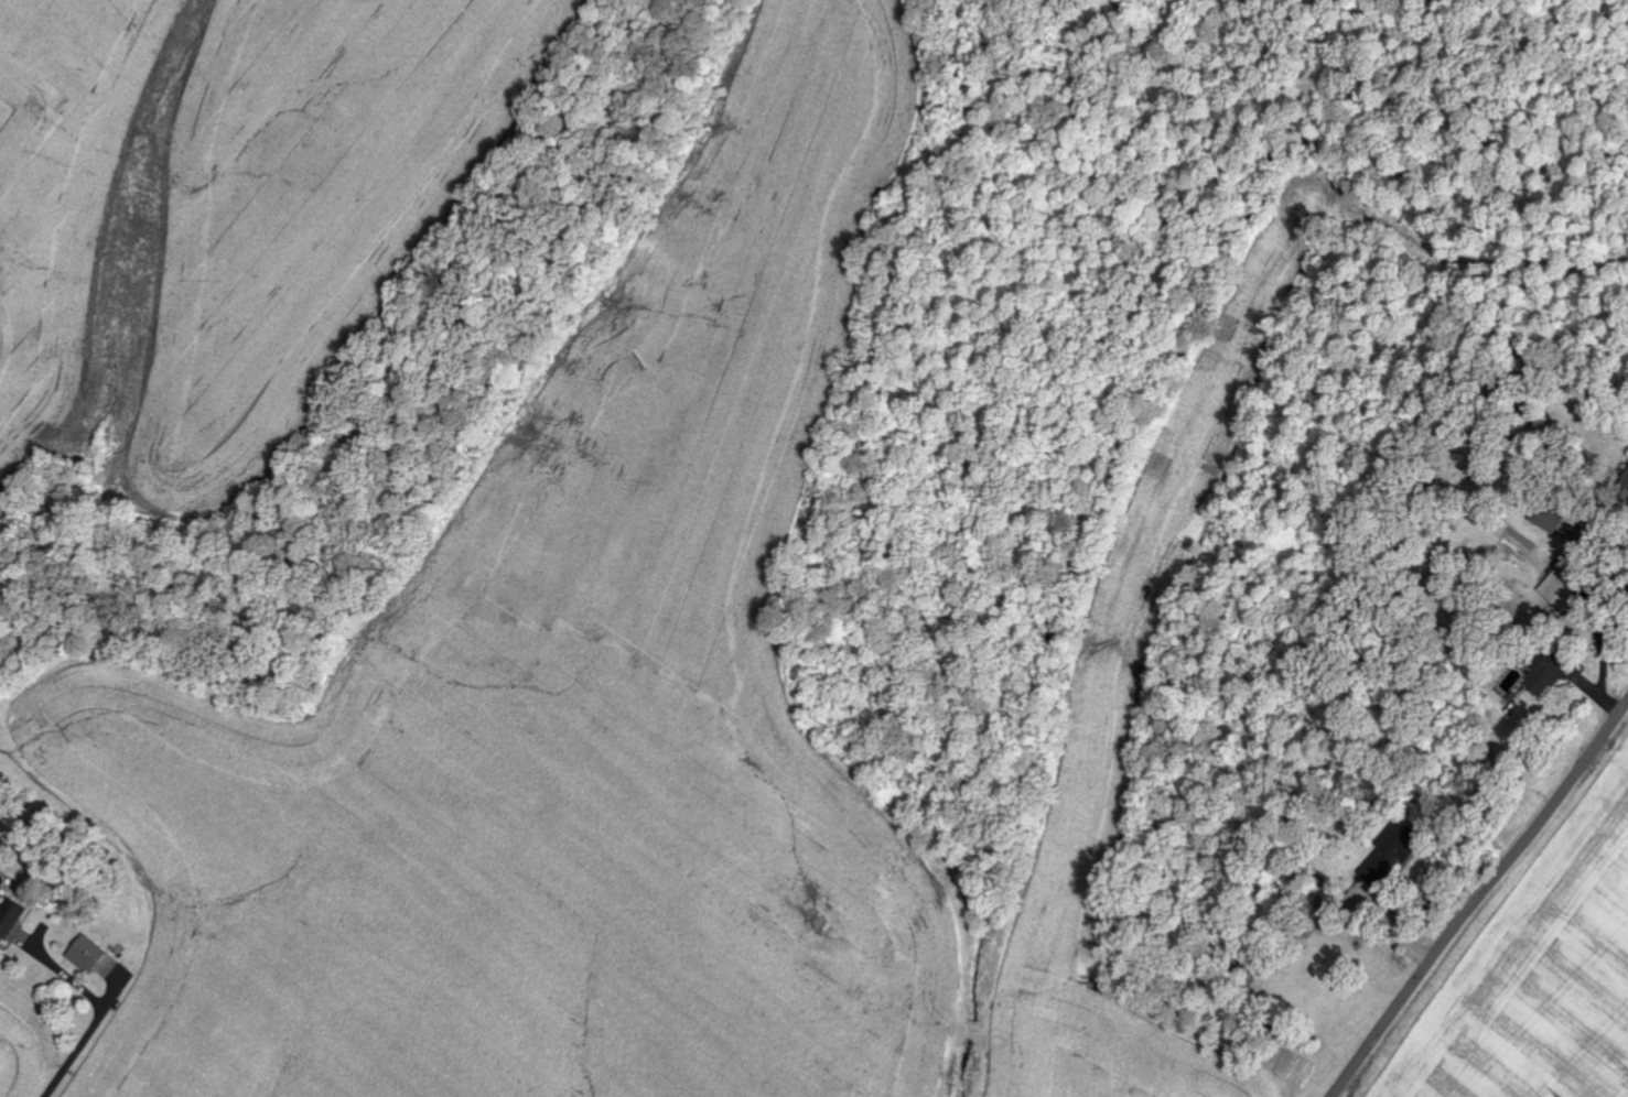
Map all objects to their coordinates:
building: (0, 112)
building: (1550, 520)
building: (1548, 670)
building: (1391, 852)
road: (1478, 897)
building: (10, 917)
building: (87, 954)
road: (99, 1014)

